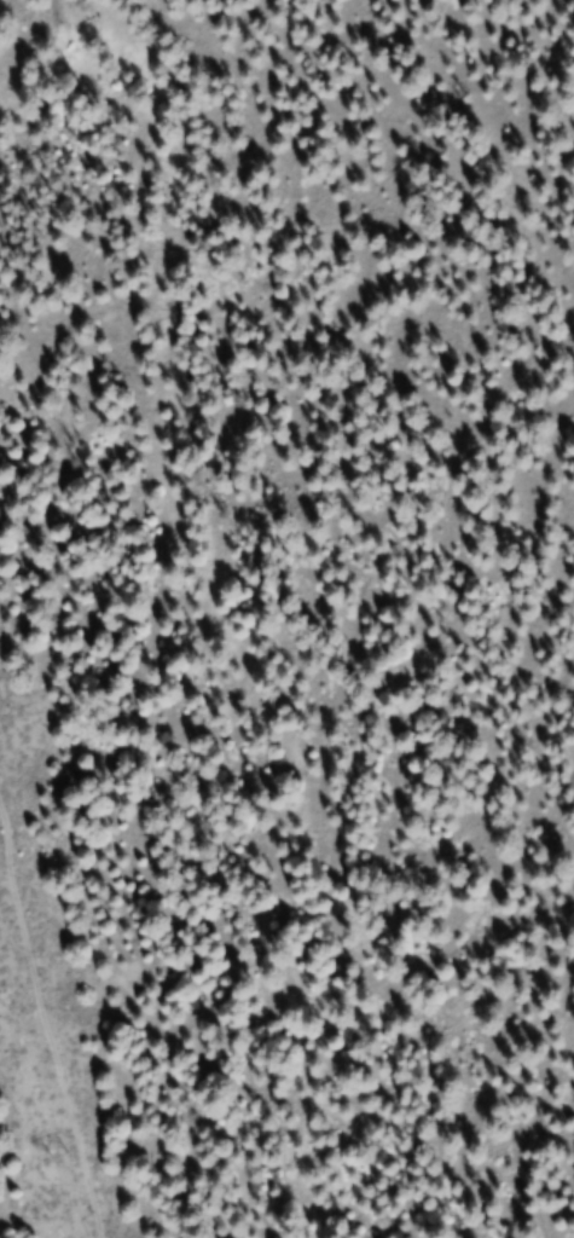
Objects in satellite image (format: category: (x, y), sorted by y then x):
power tower: (54, 1153)

